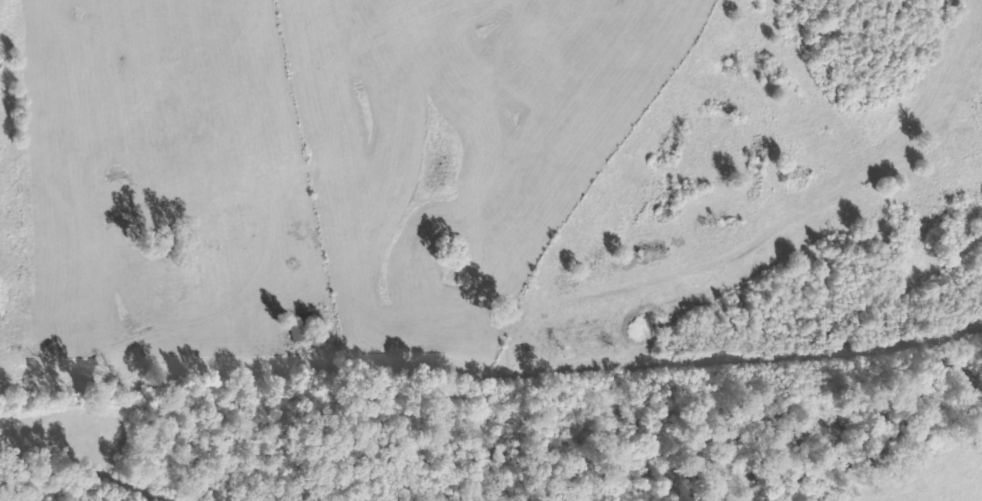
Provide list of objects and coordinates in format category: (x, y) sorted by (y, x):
building: (296, 328)
road: (147, 331)

